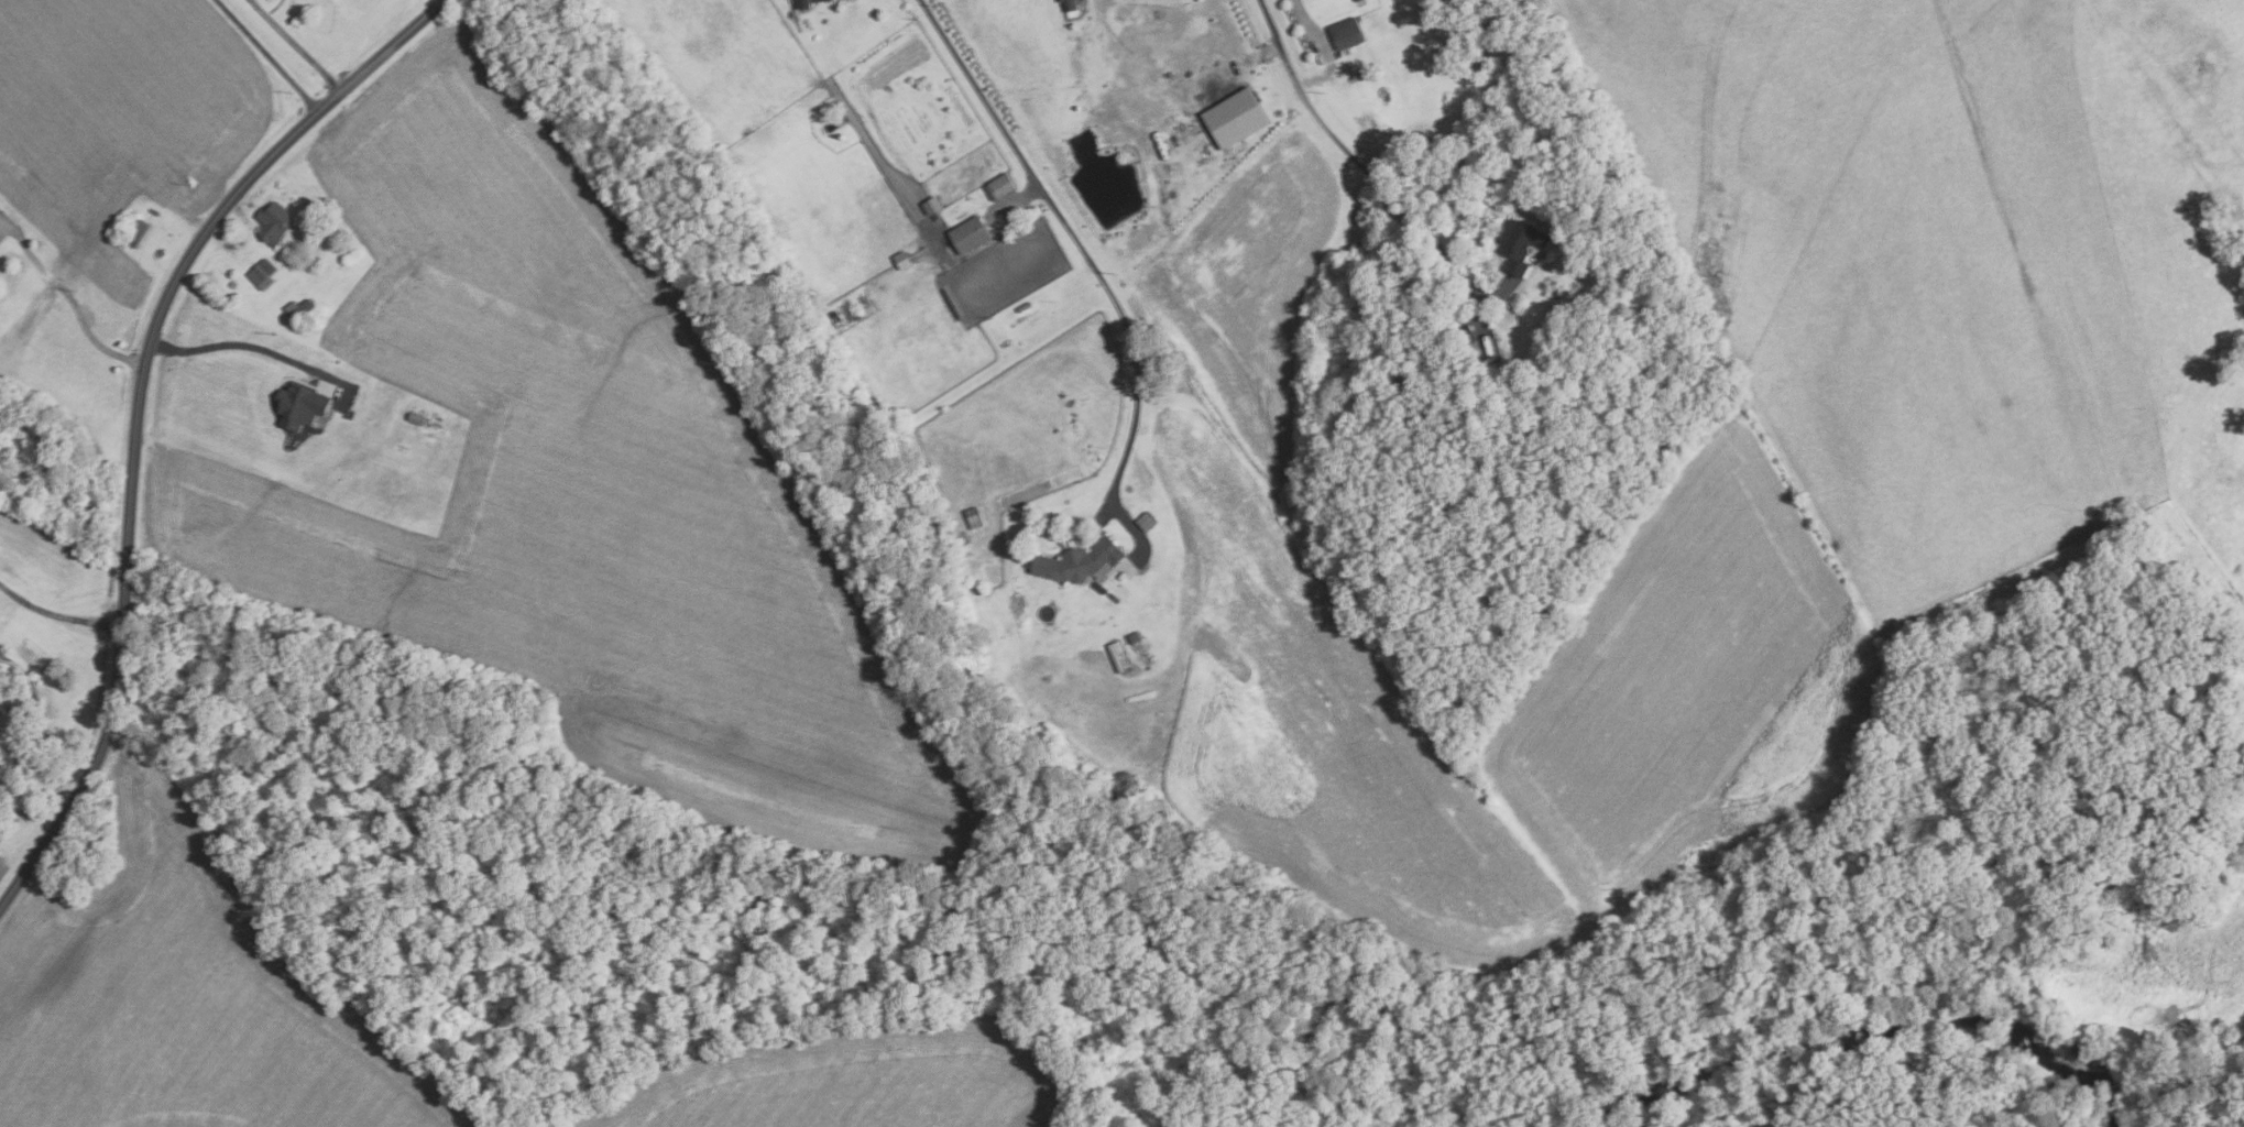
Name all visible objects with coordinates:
building: (1060, 0)
building: (802, 3)
building: (1346, 33)
road: (302, 47)
road: (1318, 51)
road: (270, 55)
building: (1240, 116)
road: (1364, 168)
building: (987, 172)
crop: (873, 184)
building: (998, 186)
building: (931, 204)
building: (935, 215)
building: (277, 221)
building: (140, 232)
building: (968, 233)
road: (1080, 243)
building: (1519, 243)
building: (901, 260)
building: (263, 274)
building: (234, 284)
road: (77, 306)
building: (304, 308)
road: (229, 343)
building: (305, 405)
road: (138, 413)
building: (420, 418)
building: (973, 517)
building: (1146, 521)
building: (1077, 561)
road: (57, 613)
building: (1132, 637)
road: (45, 734)

